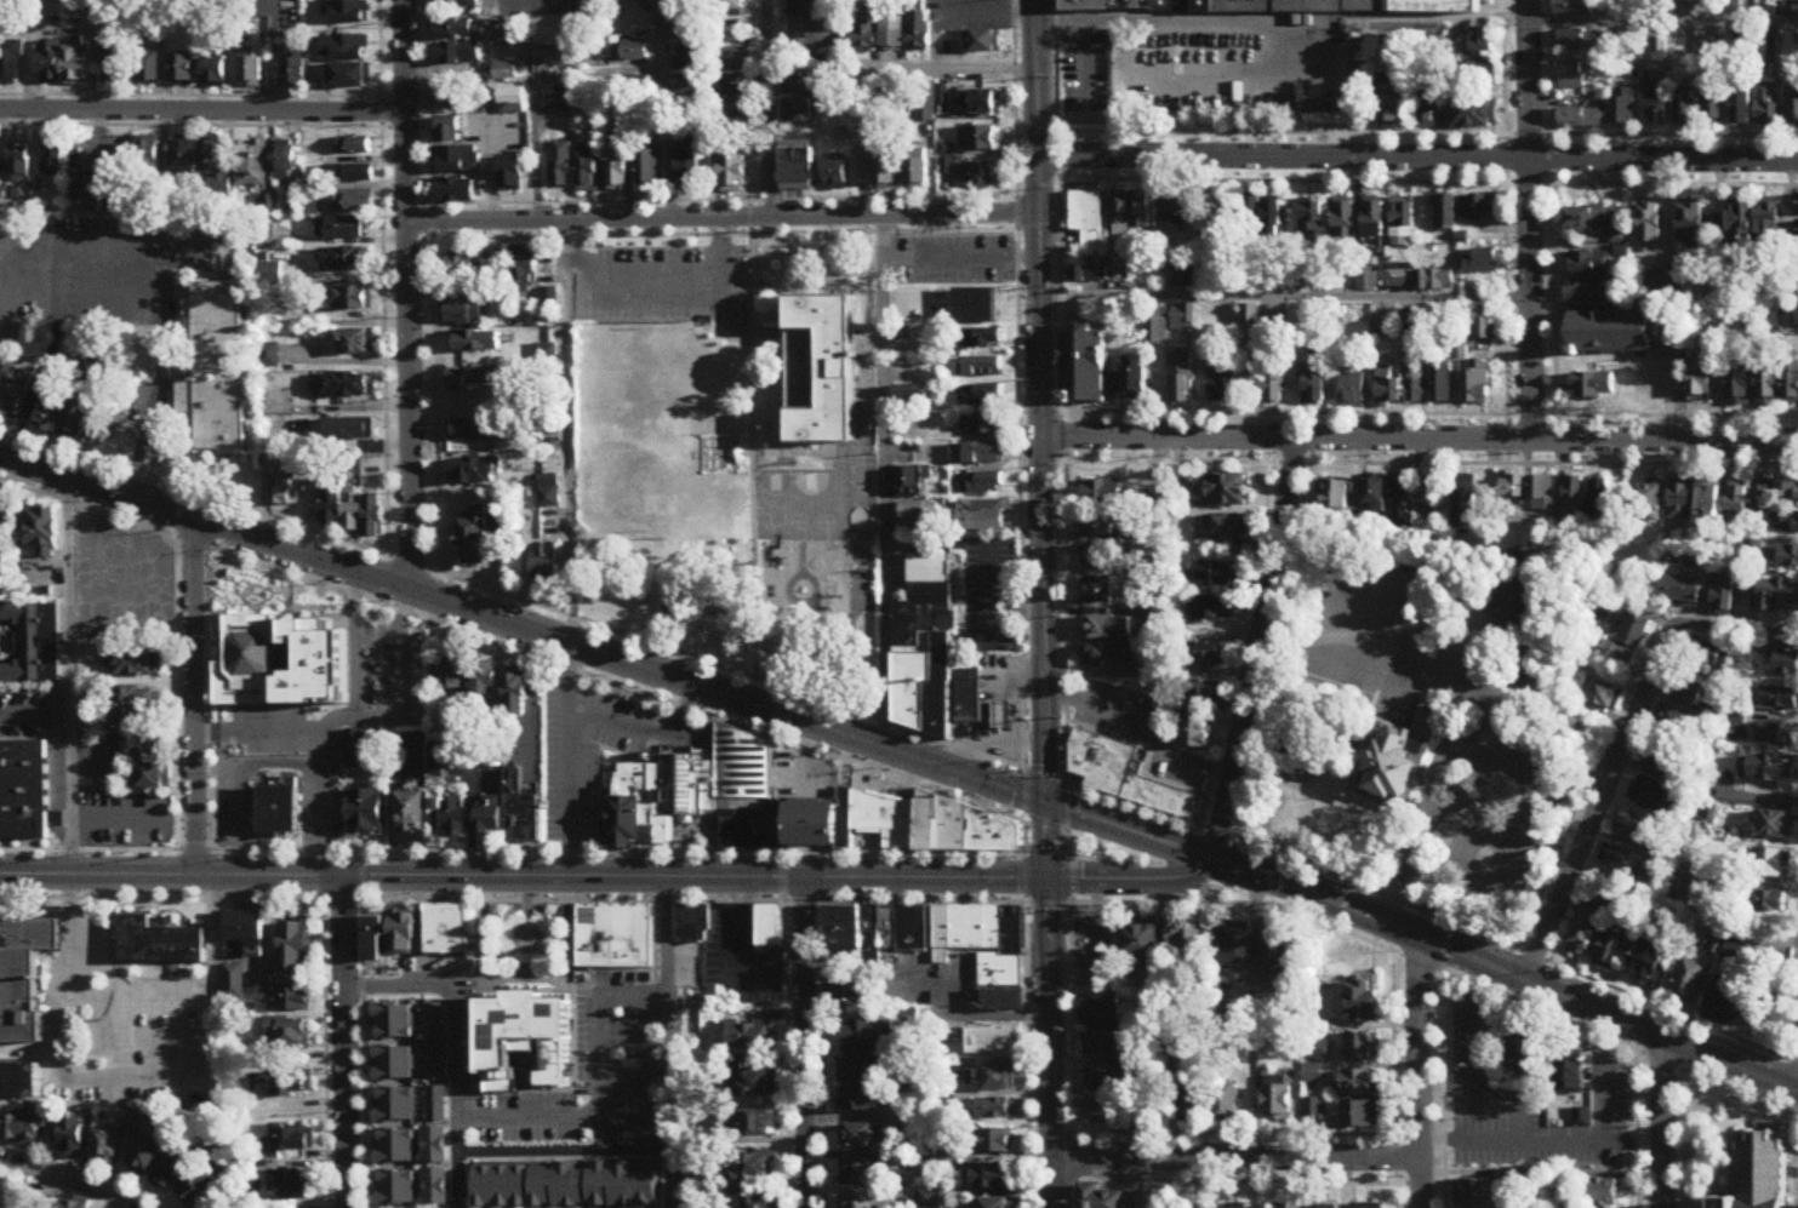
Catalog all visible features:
building: (292, 4)
building: (456, 4)
building: (731, 6)
building: (1242, 6)
building: (1575, 7)
building: (1792, 10)
building: (349, 12)
road: (489, 12)
building: (0, 13)
building: (683, 16)
building: (210, 18)
road: (1663, 21)
road: (1284, 23)
building: (453, 30)
building: (867, 32)
building: (919, 33)
building: (892, 34)
building: (513, 36)
building: (1583, 40)
building: (1395, 41)
building: (1480, 41)
building: (982, 44)
building: (346, 48)
building: (624, 48)
building: (1660, 50)
building: (457, 55)
building: (552, 55)
building: (691, 61)
building: (734, 61)
building: (48, 63)
building: (11, 64)
building: (114, 64)
building: (76, 67)
building: (149, 68)
building: (183, 70)
building: (215, 71)
building: (507, 71)
road: (951, 71)
building: (293, 73)
building: (251, 74)
building: (1483, 74)
building: (350, 78)
building: (1575, 78)
building: (797, 84)
building: (689, 85)
building: (630, 87)
building: (732, 95)
building: (452, 96)
road: (190, 97)
building: (512, 99)
building: (1388, 99)
building: (1712, 103)
building: (926, 104)
building: (976, 104)
building: (1766, 105)
building: (1431, 107)
building: (1656, 107)
building: (1625, 108)
building: (1684, 108)
building: (1741, 108)
building: (1792, 108)
road: (770, 109)
road: (667, 110)
road: (202, 111)
building: (797, 111)
building: (1474, 114)
building: (1582, 119)
building: (735, 125)
road: (192, 126)
building: (452, 130)
building: (980, 141)
road: (864, 144)
building: (354, 147)
road: (492, 151)
building: (55, 154)
building: (185, 159)
road: (1419, 159)
building: (147, 161)
building: (286, 161)
building: (457, 161)
building: (19, 164)
building: (256, 165)
building: (885, 165)
building: (561, 166)
building: (687, 166)
building: (797, 167)
building: (216, 170)
road: (531, 170)
building: (587, 170)
building: (617, 170)
building: (649, 170)
building: (510, 173)
building: (731, 174)
building: (349, 176)
building: (834, 176)
building: (983, 176)
building: (456, 193)
road: (725, 201)
building: (355, 204)
building: (312, 207)
building: (1479, 207)
building: (1797, 207)
building: (1175, 210)
building: (1445, 212)
building: (1252, 213)
building: (1130, 214)
building: (1086, 218)
road: (724, 219)
building: (1226, 219)
building: (1272, 219)
road: (1530, 221)
building: (1597, 223)
building: (1343, 224)
building: (1312, 225)
building: (1403, 225)
building: (1650, 225)
building: (1691, 225)
building: (1740, 225)
building: (1374, 227)
building: (1768, 228)
building: (344, 230)
road: (724, 235)
road: (344, 241)
building: (343, 262)
building: (1483, 262)
building: (1589, 264)
building: (467, 265)
building: (524, 268)
parking lot: (96, 269)
building: (1089, 274)
road: (384, 277)
building: (1399, 277)
building: (1183, 279)
building: (501, 281)
building: (1435, 281)
building: (1366, 284)
road: (170, 285)
road: (433, 286)
parking lot: (663, 286)
road: (662, 290)
building: (1654, 290)
building: (1588, 292)
road: (409, 297)
road: (1286, 298)
building: (353, 302)
building: (974, 303)
building: (464, 315)
building: (1797, 317)
building: (1182, 320)
building: (1251, 324)
building: (1158, 328)
building: (1381, 328)
building: (1414, 330)
building: (1482, 330)
building: (1340, 333)
building: (1616, 337)
building: (977, 340)
building: (478, 343)
building: (73, 344)
building: (355, 344)
road: (347, 361)
building: (212, 367)
building: (981, 368)
building: (820, 372)
building: (1088, 372)
building: (1134, 379)
building: (1701, 379)
building: (1181, 380)
park: (640, 382)
road: (1018, 382)
building: (1478, 382)
building: (470, 383)
building: (1442, 384)
building: (1313, 385)
building: (1791, 387)
building: (349, 388)
building: (1416, 388)
building: (1594, 388)
building: (1740, 388)
building: (1768, 389)
building: (1387, 390)
building: (1221, 391)
building: (1272, 391)
building: (1352, 393)
building: (982, 396)
building: (911, 397)
building: (13, 400)
road: (341, 407)
building: (42, 411)
building: (79, 412)
building: (981, 425)
building: (350, 431)
building: (475, 433)
road: (570, 434)
road: (1043, 437)
road: (1420, 441)
building: (983, 454)
road: (752, 457)
building: (473, 474)
building: (911, 483)
road: (885, 485)
building: (986, 485)
building: (1512, 486)
building: (284, 487)
building: (1225, 490)
building: (1791, 491)
building: (1103, 492)
building: (1435, 492)
building: (1541, 493)
park: (622, 494)
building: (1374, 494)
building: (1571, 494)
building: (1336, 496)
building: (550, 497)
building: (1599, 497)
building: (1400, 500)
building: (1682, 502)
building: (1707, 502)
building: (1465, 503)
building: (1649, 503)
building: (1737, 503)
building: (1759, 503)
park: (792, 506)
building: (350, 513)
building: (917, 516)
park: (720, 517)
building: (981, 517)
building: (1787, 521)
building: (1097, 522)
building: (7, 526)
building: (1227, 526)
road: (230, 531)
building: (44, 533)
building: (473, 539)
building: (1097, 555)
building: (1788, 556)
building: (547, 562)
building: (1215, 573)
building: (1620, 580)
building: (4, 583)
building: (1680, 589)
building: (1102, 590)
building: (1724, 592)
building: (1779, 592)
building: (52, 594)
road: (510, 597)
building: (1518, 602)
building: (1603, 608)
building: (1212, 609)
building: (1109, 626)
building: (1636, 630)
building: (34, 643)
road: (1273, 645)
road: (1255, 648)
building: (930, 653)
building: (1108, 654)
building: (1617, 654)
road: (605, 655)
building: (1203, 657)
building: (1709, 657)
building: (281, 660)
building: (136, 662)
building: (1787, 662)
building: (451, 670)
road: (72, 676)
building: (484, 679)
road: (401, 683)
building: (1690, 691)
building: (515, 692)
building: (1602, 693)
road: (182, 695)
building: (1194, 697)
road: (194, 698)
building: (1780, 698)
road: (206, 699)
building: (137, 705)
road: (1491, 708)
road: (36, 714)
building: (1001, 715)
road: (342, 717)
road: (1143, 720)
building: (1684, 727)
road: (646, 734)
building: (1779, 734)
building: (1195, 735)
building: (143, 745)
road: (1626, 749)
road: (605, 750)
building: (358, 752)
parking lot: (584, 757)
building: (1400, 760)
road: (569, 761)
road: (279, 763)
road: (857, 765)
road: (1023, 768)
building: (719, 772)
building: (1773, 772)
road: (1045, 775)
building: (152, 777)
building: (1125, 777)
building: (24, 791)
building: (1649, 792)
road: (1023, 794)
road: (238, 800)
traffic signals: (1045, 801)
road: (321, 806)
road: (1067, 806)
building: (279, 809)
building: (520, 811)
road: (1519, 811)
building: (366, 813)
building: (447, 815)
building: (489, 817)
building: (410, 818)
building: (1776, 824)
building: (897, 825)
road: (1043, 825)
building: (1636, 829)
road: (1091, 848)
road: (1074, 849)
road: (160, 851)
road: (1041, 851)
road: (1067, 851)
park: (1103, 852)
road: (1072, 854)
road: (241, 858)
building: (1622, 861)
road: (323, 864)
building: (1771, 864)
road: (1250, 871)
road: (363, 876)
road: (1023, 876)
traffic signals: (1048, 876)
road: (524, 877)
road: (786, 877)
road: (1131, 877)
road: (1071, 881)
building: (1605, 899)
road: (512, 901)
road: (1048, 903)
building: (1766, 904)
road: (1353, 910)
road: (1434, 914)
building: (691, 924)
building: (770, 927)
building: (446, 929)
building: (875, 931)
building: (246, 932)
building: (1586, 932)
building: (401, 934)
building: (615, 937)
building: (373, 939)
building: (159, 943)
building: (1187, 943)
building: (1140, 944)
building: (1613, 944)
building: (1232, 945)
building: (986, 950)
building: (292, 951)
building: (1277, 956)
building: (1648, 962)
road: (1442, 969)
building: (24, 977)
building: (1689, 983)
building: (235, 984)
building: (851, 994)
building: (1363, 1000)
building: (295, 1001)
building: (1726, 1002)
building: (1101, 1009)
road: (1608, 1014)
building: (435, 1023)
building: (289, 1035)
building: (750, 1037)
building: (524, 1038)
road: (1051, 1041)
road: (347, 1042)
road: (462, 1042)
building: (993, 1042)
road: (668, 1043)
road: (805, 1044)
building: (1102, 1044)
building: (1360, 1047)
building: (1317, 1049)
building: (1523, 1050)
building: (866, 1053)
road: (327, 1054)
road: (644, 1060)
road: (1419, 1071)
building: (1570, 1071)
building: (1312, 1075)
building: (1102, 1077)
road: (1473, 1077)
building: (999, 1080)
building: (18, 1082)
building: (755, 1083)
building: (1358, 1083)
building: (282, 1084)
road: (130, 1086)
building: (860, 1099)
road: (1511, 1099)
road: (600, 1101)
building: (1158, 1101)
building: (1193, 1101)
building: (1226, 1103)
building: (1277, 1103)
building: (395, 1105)
building: (1312, 1109)
building: (997, 1110)
building: (1103, 1111)
building: (1360, 1115)
building: (1582, 1117)
road: (1661, 1122)
building: (757, 1123)
building: (435, 1124)
building: (24, 1127)
road: (601, 1135)
building: (860, 1137)
building: (73, 1139)
road: (1556, 1139)
building: (287, 1141)
building: (997, 1143)
building: (107, 1145)
road: (1797, 1147)
road: (1796, 1153)
road: (566, 1155)
building: (147, 1156)
road: (1237, 1158)
building: (753, 1169)
building: (172, 1170)
building: (858, 1173)
building: (1762, 1174)
road: (68, 1178)
building: (991, 1178)
building: (622, 1184)
building: (291, 1185)
building: (501, 1186)
building: (556, 1186)
building: (199, 1187)
building: (1475, 1192)
building: (1605, 1192)
road: (1797, 1195)
building: (1100, 1196)
building: (927, 1200)
building: (755, 1201)
building: (864, 1202)
building: (998, 1203)
building: (73, 1204)

